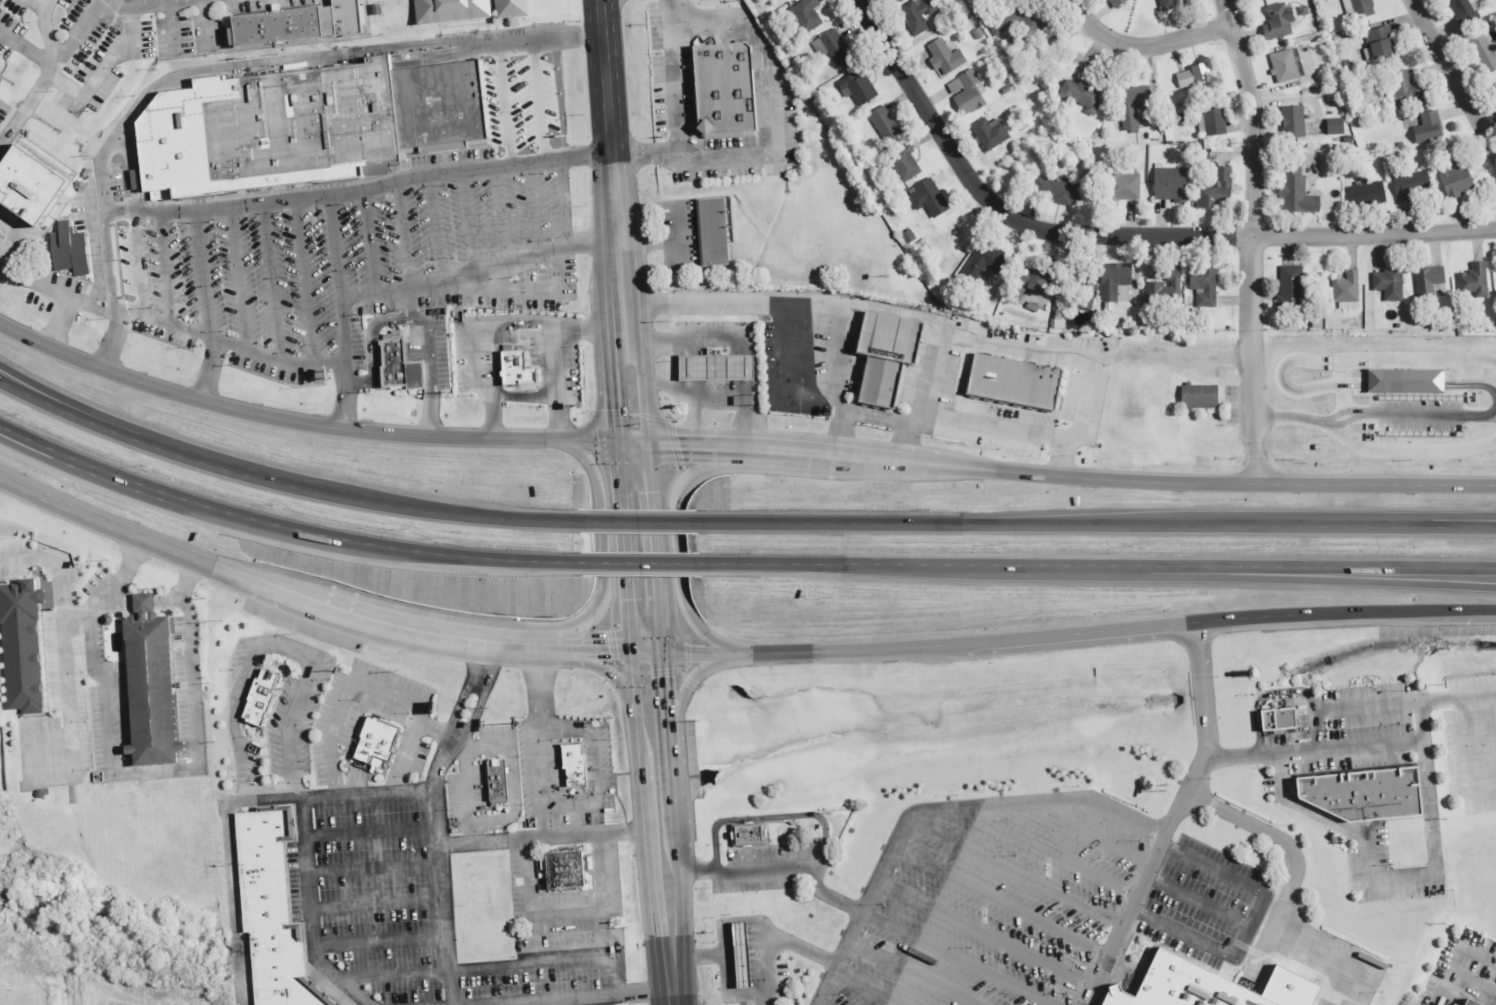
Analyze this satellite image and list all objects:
road: (39, 2)
road: (157, 2)
building: (1114, 3)
building: (1171, 3)
road: (146, 6)
building: (509, 8)
building: (1356, 8)
building: (446, 10)
building: (1462, 11)
building: (805, 13)
building: (916, 14)
building: (1017, 20)
building: (1276, 21)
building: (299, 23)
road: (208, 25)
road: (172, 29)
road: (45, 33)
road: (1145, 41)
building: (1375, 42)
building: (831, 48)
road: (26, 49)
building: (1483, 53)
building: (943, 56)
road: (332, 57)
building: (1283, 66)
road: (49, 69)
road: (102, 71)
building: (1192, 76)
road: (1449, 86)
building: (723, 88)
building: (857, 88)
building: (1403, 89)
building: (1493, 92)
building: (965, 93)
building: (1078, 94)
road: (770, 96)
road: (538, 99)
road: (504, 102)
building: (1131, 104)
building: (435, 105)
road: (676, 110)
building: (1212, 120)
building: (1290, 120)
building: (883, 124)
building: (1333, 126)
building: (1427, 128)
building: (265, 130)
building: (987, 132)
building: (904, 162)
road: (131, 167)
road: (612, 173)
building: (1454, 177)
building: (28, 184)
building: (1168, 184)
building: (1122, 185)
building: (1408, 186)
road: (300, 189)
building: (1214, 190)
building: (1054, 191)
building: (1293, 191)
building: (1365, 195)
building: (925, 197)
road: (560, 202)
road: (532, 206)
road: (148, 207)
road: (500, 211)
road: (467, 215)
road: (435, 228)
road: (404, 232)
building: (711, 232)
road: (1120, 234)
road: (368, 237)
road: (1254, 240)
road: (332, 241)
building: (66, 249)
parking lot: (357, 251)
road: (136, 260)
road: (3, 261)
building: (982, 262)
road: (108, 265)
road: (166, 265)
building: (120, 266)
road: (238, 274)
road: (304, 276)
road: (272, 278)
building: (1034, 280)
building: (1111, 280)
building: (1471, 280)
building: (1426, 281)
building: (1386, 283)
road: (422, 285)
building: (1203, 288)
building: (1287, 288)
building: (1162, 290)
building: (1342, 292)
road: (70, 295)
road: (869, 308)
road: (161, 319)
road: (58, 323)
road: (492, 326)
road: (553, 327)
road: (718, 338)
building: (887, 338)
road: (370, 349)
road: (473, 351)
road: (429, 353)
building: (512, 354)
road: (1183, 357)
road: (275, 359)
road: (1335, 361)
building: (395, 362)
building: (712, 367)
gas station: (712, 367)
road: (930, 370)
building: (1011, 380)
building: (1402, 381)
building: (880, 382)
road: (1403, 383)
road: (642, 391)
road: (615, 392)
road: (526, 394)
road: (718, 394)
building: (1199, 396)
road: (812, 397)
road: (1494, 414)
road: (1445, 416)
road: (691, 418)
road: (888, 418)
road: (315, 423)
road: (839, 431)
road: (1035, 435)
traffic signals: (619, 440)
traffic signals: (648, 441)
road: (1371, 450)
road: (1064, 456)
road: (1071, 472)
road: (276, 484)
road: (634, 519)
road: (1097, 523)
road: (1467, 524)
road: (278, 526)
road: (628, 545)
road: (596, 547)
road: (682, 547)
road: (639, 561)
road: (52, 562)
road: (1099, 566)
road: (1344, 576)
road: (272, 588)
road: (125, 603)
road: (84, 611)
road: (1027, 633)
building: (20, 645)
road: (276, 649)
traffic signals: (663, 649)
traffic signals: (638, 650)
road: (483, 660)
road: (700, 669)
road: (611, 670)
road: (370, 686)
road: (639, 686)
building: (150, 690)
road: (1260, 695)
building: (260, 698)
road: (1456, 699)
road: (457, 701)
road: (68, 706)
road: (1365, 706)
road: (475, 709)
road: (667, 717)
building: (1275, 719)
road: (1420, 723)
road: (1315, 731)
road: (436, 732)
parking lot: (1340, 733)
building: (375, 737)
road: (540, 739)
parking lot: (1470, 743)
road: (1369, 748)
road: (1259, 756)
road: (1465, 758)
building: (573, 766)
road: (158, 769)
road: (595, 769)
road: (645, 777)
building: (496, 781)
building: (1361, 792)
road: (1305, 807)
road: (935, 810)
road: (513, 812)
road: (1427, 814)
road: (1172, 817)
road: (772, 818)
road: (470, 832)
building: (747, 833)
road: (368, 834)
road: (1090, 834)
road: (542, 837)
road: (301, 848)
road: (1049, 854)
road: (438, 865)
parking lot: (767, 866)
road: (780, 866)
road: (230, 867)
road: (370, 870)
parking lot: (1379, 870)
building: (562, 872)
road: (1016, 875)
road: (1374, 882)
road: (1286, 899)
parking lot: (562, 901)
road: (1196, 902)
parking lot: (1029, 903)
road: (1002, 904)
road: (372, 905)
parking lot: (399, 908)
building: (269, 912)
road: (530, 913)
road: (655, 913)
road: (603, 915)
road: (1249, 925)
road: (987, 933)
road: (376, 942)
road: (800, 948)
road: (621, 950)
building: (739, 956)
gas station: (739, 956)
road: (703, 957)
road: (960, 959)
parking lot: (1462, 961)
road: (1453, 963)
road: (473, 968)
road: (912, 974)
parking lot: (784, 984)
building: (1203, 986)
road: (867, 989)
road: (764, 992)
parking lot: (18, 997)
road: (587, 998)
road: (673, 998)
road: (0, 999)
road: (764, 999)
building: (1466, 1003)
building: (1471, 1003)
road: (821, 1004)

